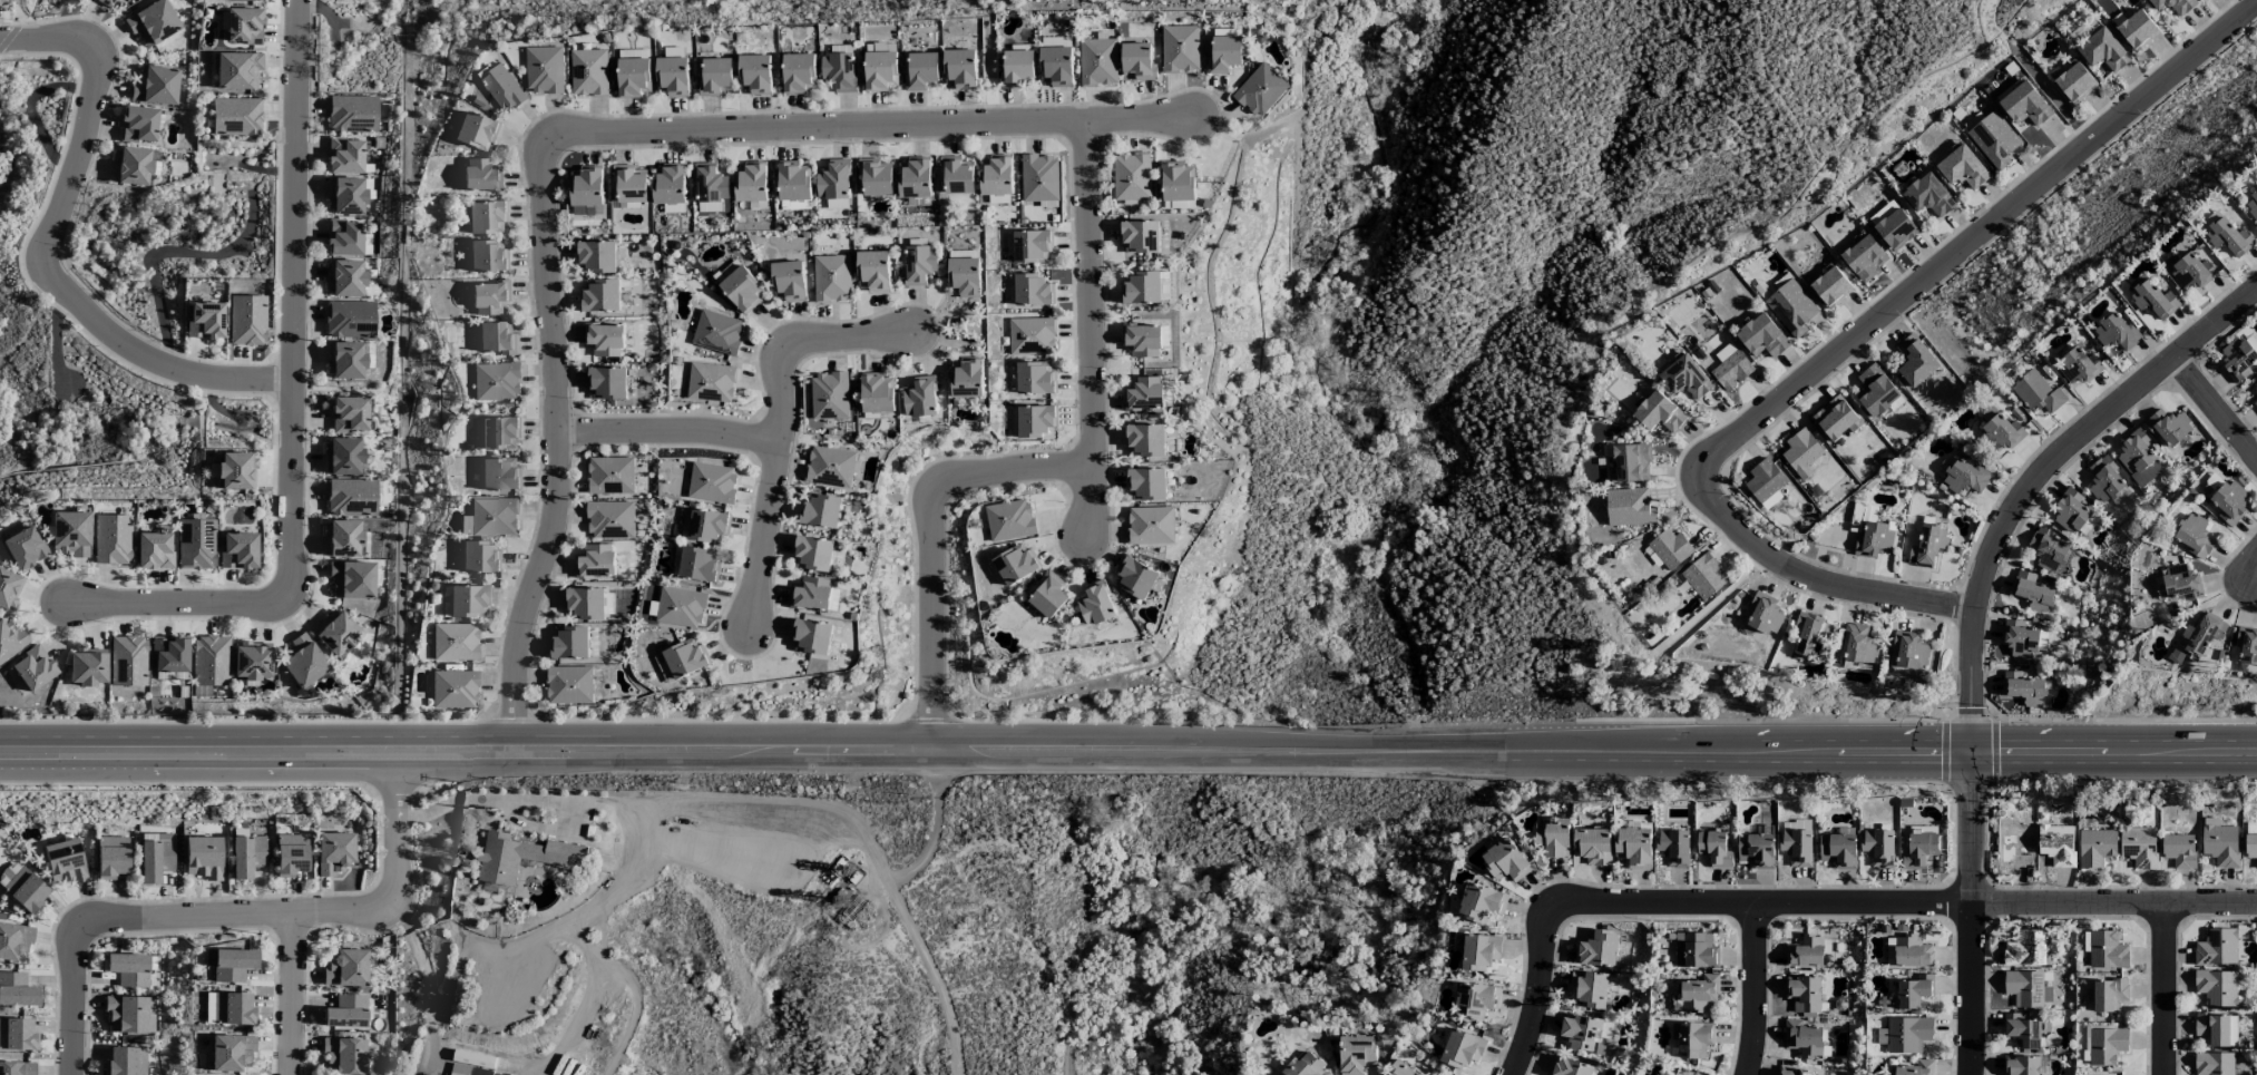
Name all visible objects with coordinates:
building: (241, 0)
building: (2206, 0)
building: (105, 2)
building: (1, 3)
building: (2173, 6)
building: (153, 22)
building: (243, 26)
building: (2138, 30)
building: (1180, 49)
building: (2103, 50)
building: (1223, 55)
building: (1137, 61)
building: (1055, 62)
building: (1097, 62)
building: (959, 69)
building: (1016, 69)
building: (237, 70)
building: (544, 70)
building: (880, 70)
building: (839, 71)
building: (921, 71)
building: (588, 72)
building: (799, 74)
building: (755, 75)
building: (633, 77)
building: (672, 77)
building: (715, 77)
building: (2074, 82)
building: (155, 86)
building: (502, 88)
building: (1260, 90)
building: (2024, 105)
building: (352, 113)
building: (236, 116)
building: (138, 124)
road: (876, 127)
building: (476, 131)
building: (1994, 139)
building: (345, 155)
building: (130, 166)
building: (1962, 168)
building: (480, 175)
building: (956, 175)
building: (996, 176)
building: (1132, 177)
building: (875, 178)
building: (913, 178)
building: (1039, 178)
building: (833, 180)
building: (751, 183)
building: (793, 183)
building: (1178, 183)
building: (629, 185)
building: (670, 185)
building: (586, 187)
building: (710, 187)
building: (346, 195)
building: (1928, 196)
building: (837, 204)
building: (2251, 206)
building: (487, 217)
building: (1895, 229)
road: (1978, 234)
building: (344, 237)
building: (1139, 237)
building: (2228, 237)
building: (368, 244)
building: (1032, 246)
road: (48, 248)
building: (487, 256)
building: (596, 256)
building: (1864, 256)
building: (919, 265)
building: (873, 271)
building: (2191, 272)
building: (344, 277)
building: (965, 277)
building: (831, 278)
building: (788, 281)
building: (739, 286)
building: (1831, 287)
building: (1141, 289)
building: (1032, 291)
road: (292, 292)
building: (599, 296)
building: (490, 297)
building: (2153, 300)
building: (1791, 309)
building: (350, 319)
building: (205, 320)
building: (247, 320)
road: (1090, 329)
building: (2114, 332)
building: (717, 333)
building: (1032, 336)
building: (1761, 336)
building: (496, 338)
building: (604, 340)
building: (1142, 340)
building: (346, 359)
building: (2237, 360)
building: (1915, 361)
building: (2079, 367)
building: (1728, 368)
building: (1035, 378)
building: (1686, 378)
building: (966, 379)
building: (496, 381)
building: (606, 383)
building: (711, 384)
building: (2255, 384)
building: (877, 393)
building: (1876, 393)
building: (2036, 393)
building: (1143, 394)
building: (829, 397)
building: (920, 398)
building: (2255, 403)
road: (2216, 410)
building: (1659, 412)
building: (350, 414)
building: (1836, 419)
building: (1036, 421)
building: (2169, 428)
road: (783, 430)
building: (496, 432)
road: (668, 432)
building: (2002, 433)
road: (555, 437)
building: (1144, 441)
building: (1800, 452)
building: (343, 456)
building: (2138, 459)
building: (1630, 463)
building: (830, 467)
building: (234, 470)
building: (499, 473)
building: (610, 476)
building: (1964, 477)
road: (2036, 479)
building: (1765, 481)
building: (2105, 481)
building: (712, 483)
building: (1145, 485)
building: (2211, 486)
building: (351, 497)
building: (2230, 502)
building: (1629, 508)
building: (820, 511)
building: (2070, 511)
building: (494, 517)
building: (609, 520)
building: (1008, 520)
building: (707, 526)
building: (1150, 526)
building: (70, 532)
building: (2195, 537)
building: (113, 538)
building: (342, 538)
building: (1874, 540)
building: (196, 544)
building: (1928, 546)
building: (23, 547)
road: (934, 547)
building: (1670, 549)
building: (154, 550)
building: (238, 550)
building: (2048, 550)
building: (812, 554)
building: (480, 557)
building: (596, 563)
building: (1015, 564)
building: (698, 565)
road: (2253, 571)
building: (1703, 576)
building: (1134, 578)
building: (352, 579)
road: (1821, 579)
building: (2181, 584)
building: (9, 588)
building: (2032, 592)
building: (811, 594)
building: (1048, 595)
road: (185, 600)
building: (446, 600)
building: (468, 600)
building: (585, 603)
building: (1095, 604)
building: (680, 608)
building: (1762, 616)
building: (336, 633)
building: (1806, 634)
building: (2202, 634)
building: (811, 637)
building: (10, 638)
building: (2020, 638)
building: (456, 642)
building: (569, 643)
building: (1857, 645)
building: (2247, 645)
building: (1909, 651)
building: (170, 654)
building: (685, 658)
building: (253, 659)
building: (128, 661)
building: (211, 661)
building: (303, 661)
building: (88, 666)
building: (31, 670)
building: (569, 685)
building: (455, 688)
building: (2022, 688)
road: (568, 736)
road: (1697, 741)
traffic signals: (1973, 742)
road: (749, 762)
road: (1876, 763)
traffic signals: (1973, 764)
road: (931, 834)
building: (1553, 838)
building: (2219, 843)
building: (1592, 846)
building: (2056, 846)
building: (1634, 847)
building: (2139, 847)
building: (2250, 847)
building: (1673, 848)
building: (1797, 848)
building: (1878, 848)
building: (2094, 848)
building: (1714, 849)
building: (1756, 850)
building: (1838, 850)
building: (1919, 850)
building: (2016, 851)
building: (2179, 851)
building: (334, 852)
building: (292, 854)
building: (247, 856)
building: (113, 857)
building: (204, 857)
building: (526, 858)
building: (156, 860)
building: (65, 861)
building: (1505, 861)
road: (397, 883)
building: (26, 889)
building: (1482, 903)
road: (1901, 907)
road: (1972, 913)
road: (187, 916)
building: (14, 940)
building: (2216, 948)
building: (1598, 949)
building: (2028, 949)
building: (2107, 950)
building: (1479, 951)
building: (1696, 951)
building: (1805, 952)
building: (1913, 952)
building: (231, 964)
building: (129, 968)
building: (346, 968)
building: (2216, 988)
building: (17, 989)
building: (1590, 989)
building: (2026, 989)
road: (2163, 989)
road: (1753, 991)
building: (1913, 991)
building: (1699, 993)
road: (292, 994)
road: (1535, 994)
building: (1804, 994)
building: (2108, 995)
road: (72, 1000)
building: (1476, 1000)
building: (233, 1009)
building: (346, 1012)
building: (130, 1015)
building: (2212, 1029)
building: (2024, 1030)
building: (2232, 1030)
building: (1581, 1033)
building: (17, 1035)
building: (1905, 1035)
building: (1690, 1039)
building: (1804, 1039)
building: (2105, 1046)
building: (1462, 1049)
building: (231, 1052)
building: (1356, 1054)
building: (344, 1055)
building: (475, 1059)
building: (126, 1061)
building: (2212, 1064)
building: (1305, 1066)
building: (2021, 1066)
building: (1569, 1067)
building: (17, 1068)
building: (1916, 1068)
building: (1399, 1069)
building: (468, 1071)
building: (1792, 1071)

